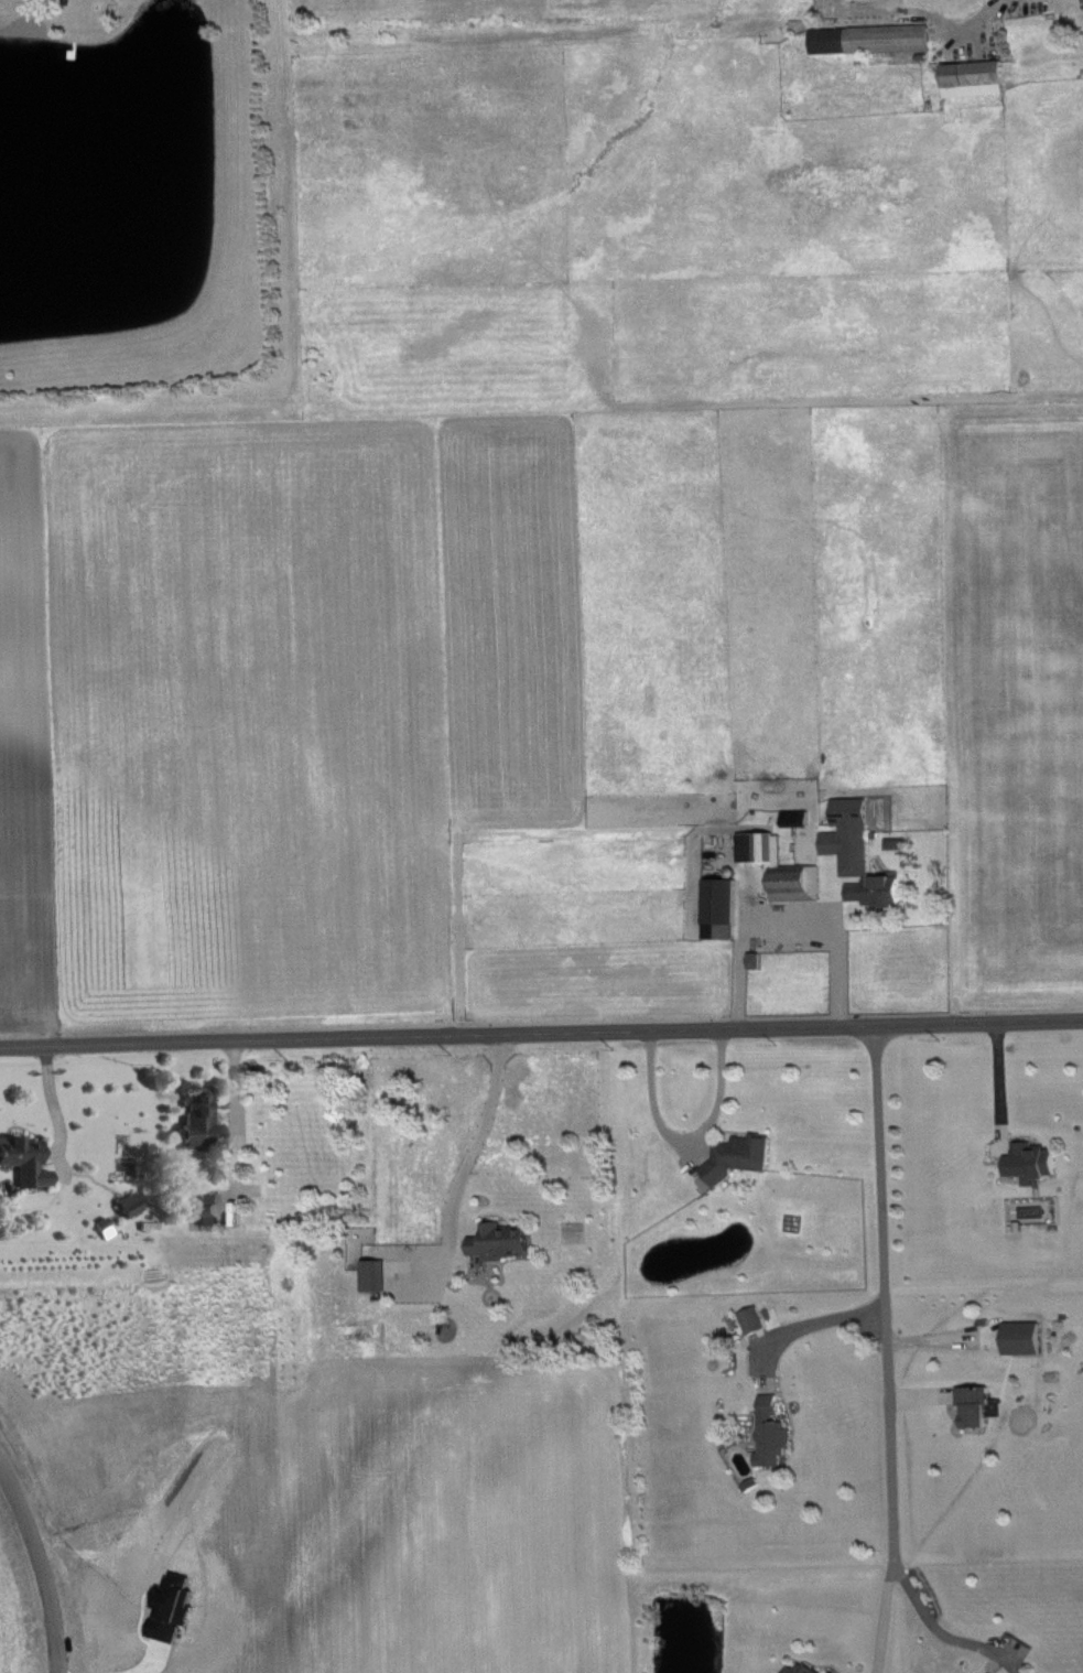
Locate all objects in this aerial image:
road: (989, 11)
building: (868, 37)
building: (971, 77)
building: (793, 816)
building: (846, 834)
building: (891, 842)
building: (779, 866)
building: (874, 889)
building: (717, 906)
road: (791, 922)
road: (541, 1034)
road: (998, 1082)
road: (234, 1112)
building: (207, 1123)
road: (484, 1126)
road: (689, 1144)
building: (737, 1154)
building: (1028, 1161)
building: (137, 1204)
building: (215, 1208)
building: (510, 1241)
building: (382, 1274)
building: (754, 1318)
road: (831, 1323)
building: (1019, 1336)
road: (887, 1349)
building: (972, 1404)
building: (771, 1428)
road: (44, 1558)
road: (929, 1620)
building: (803, 1667)
building: (834, 1671)
building: (990, 1672)
building: (1024, 1672)

